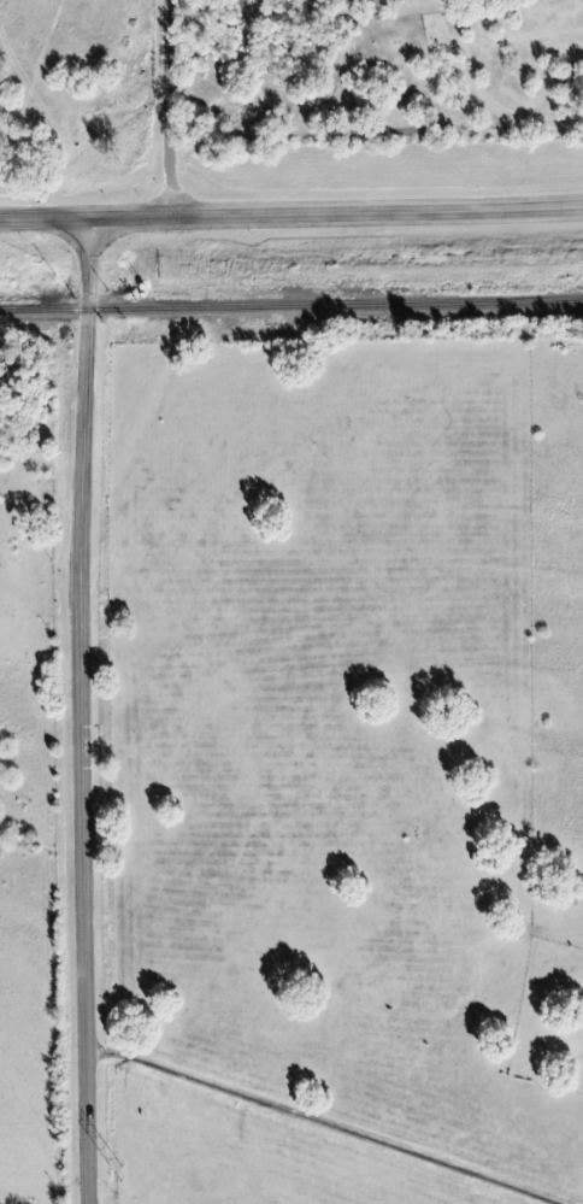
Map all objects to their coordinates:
building: (373, 4)
road: (167, 108)
road: (336, 215)
road: (45, 219)
railway: (291, 306)
road: (81, 711)
road: (320, 1122)
power tower: (112, 1176)

